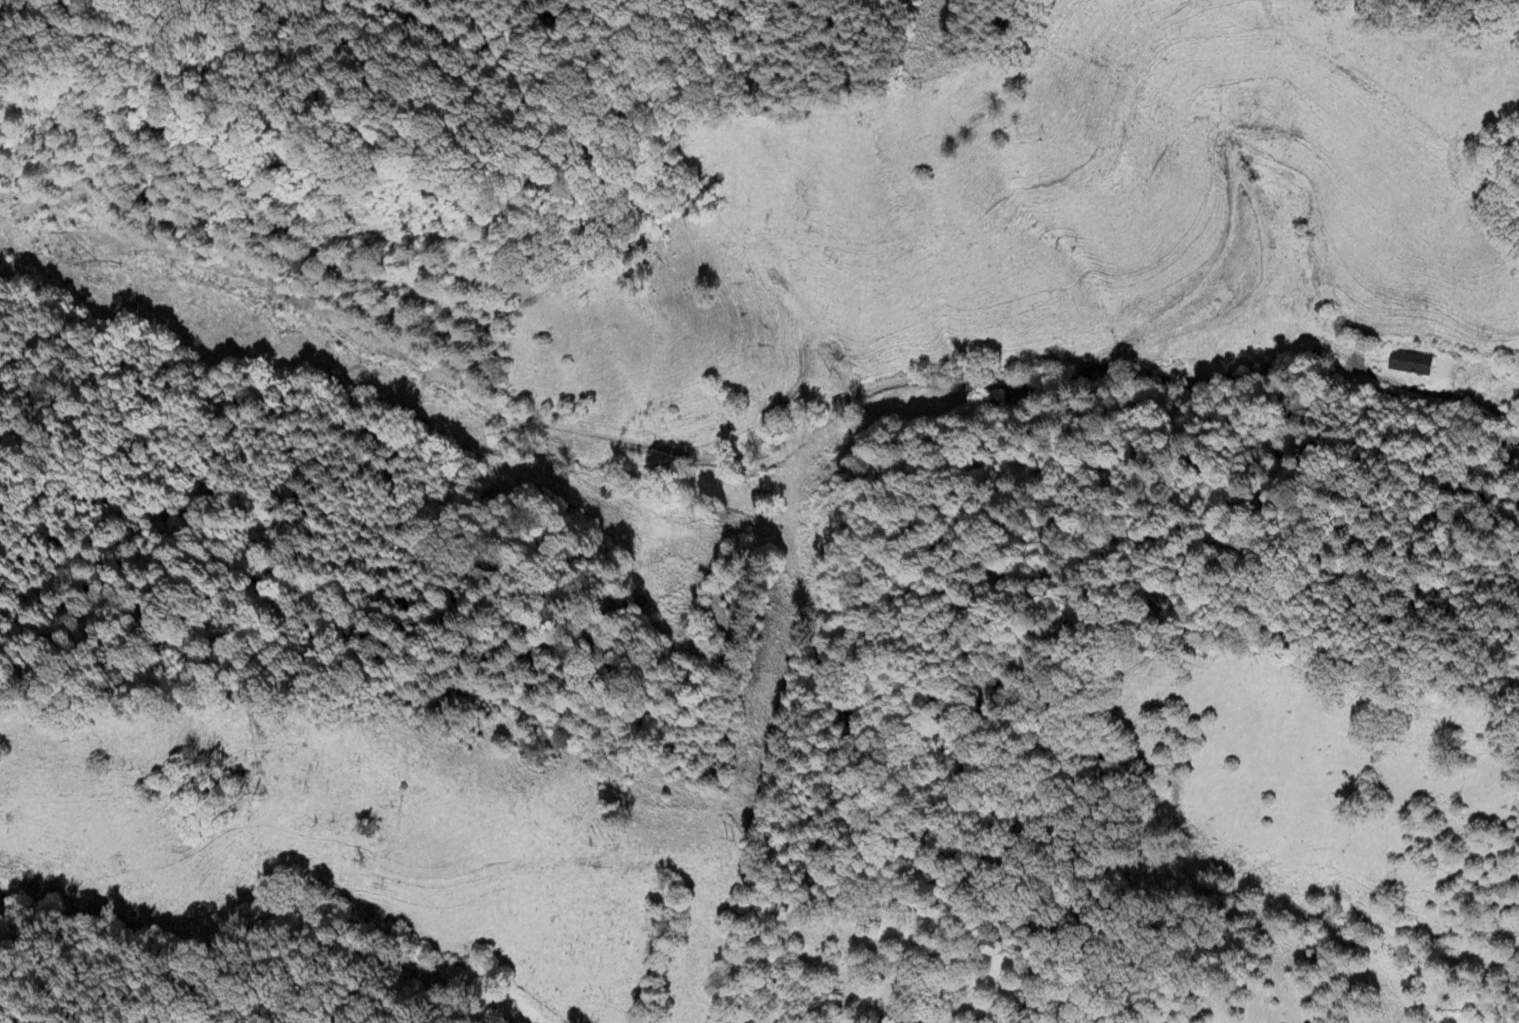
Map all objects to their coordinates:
building: (1283, 334)
building: (1409, 365)

